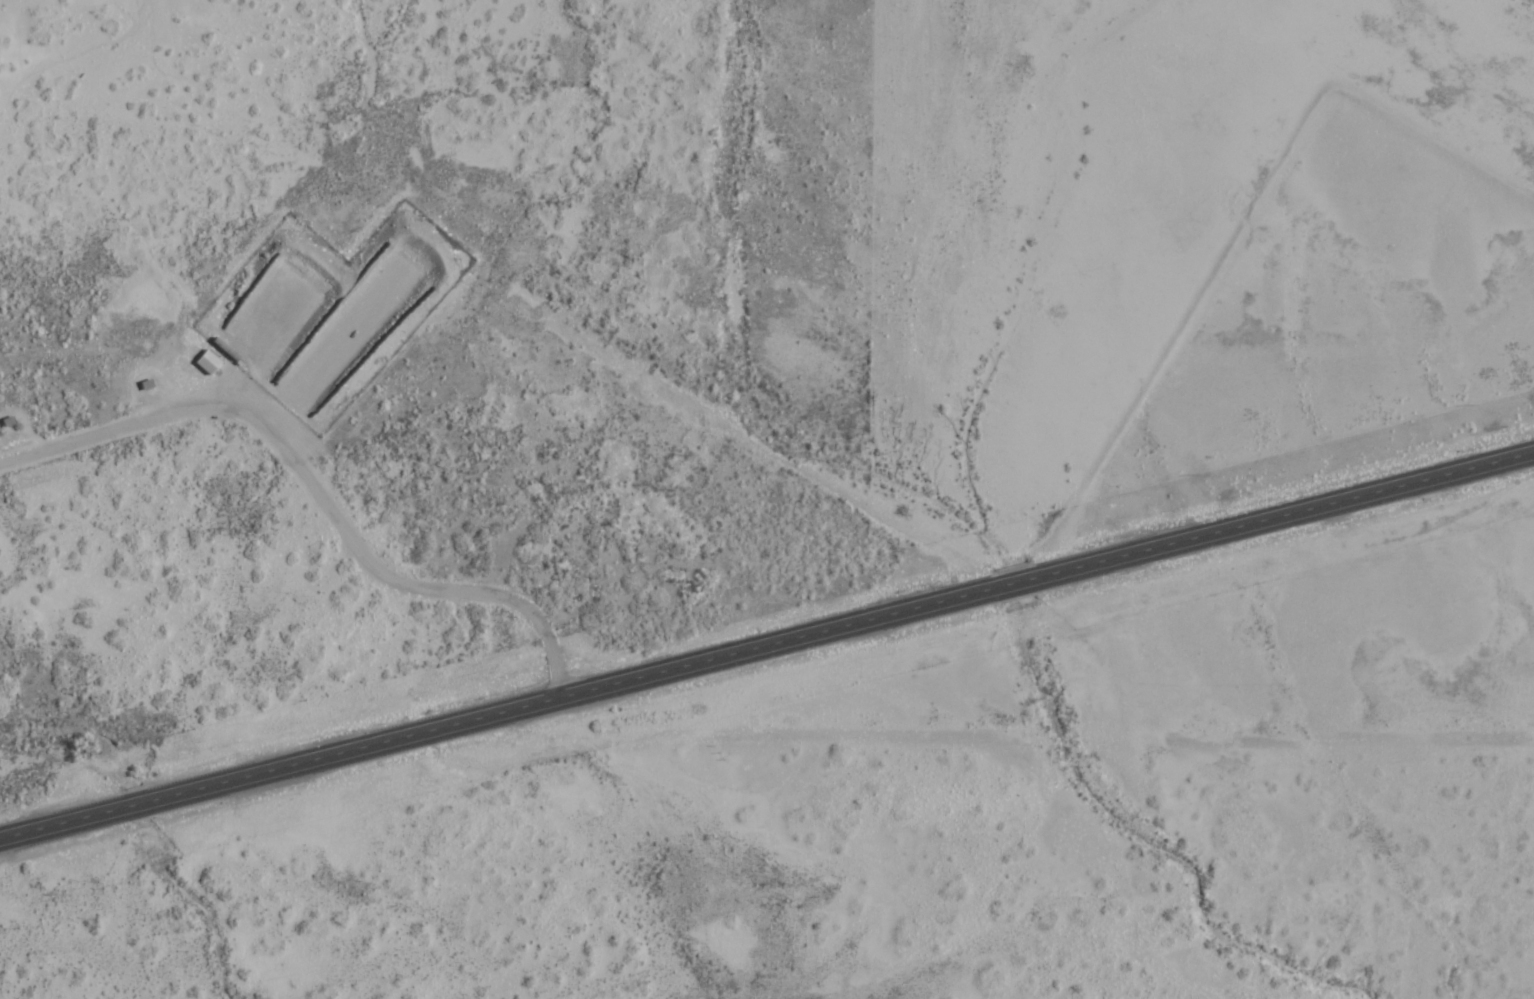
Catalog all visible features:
road: (1035, 65)
road: (1489, 69)
road: (766, 644)

